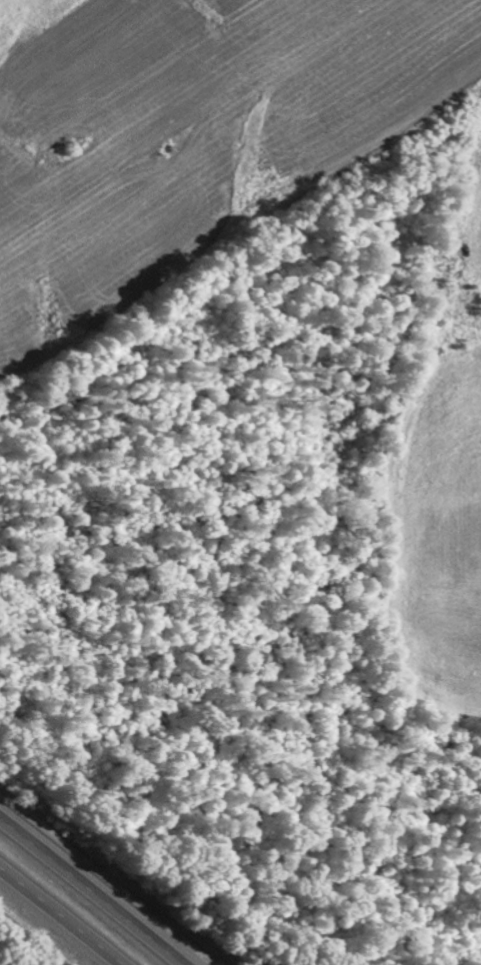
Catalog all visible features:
road: (95, 889)
road: (62, 914)

